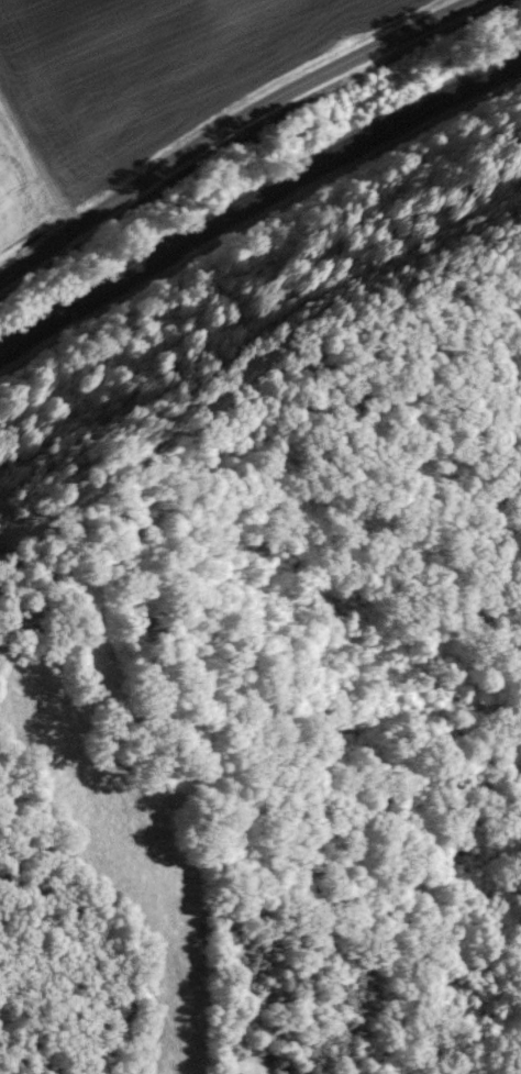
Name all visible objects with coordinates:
road: (224, 124)
railway: (256, 188)
railway: (255, 208)

